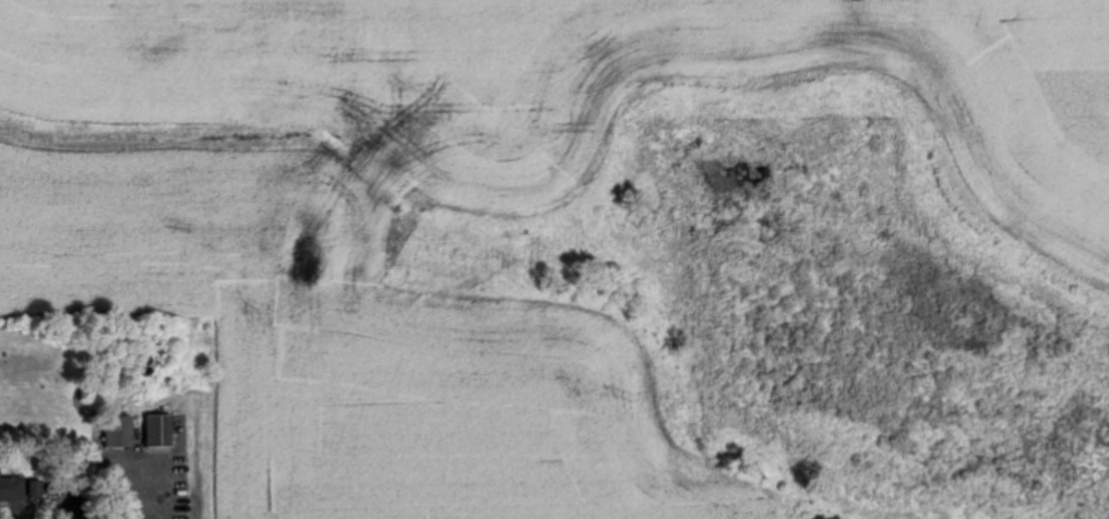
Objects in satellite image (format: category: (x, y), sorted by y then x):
building: (159, 429)
building: (119, 430)
building: (12, 486)

